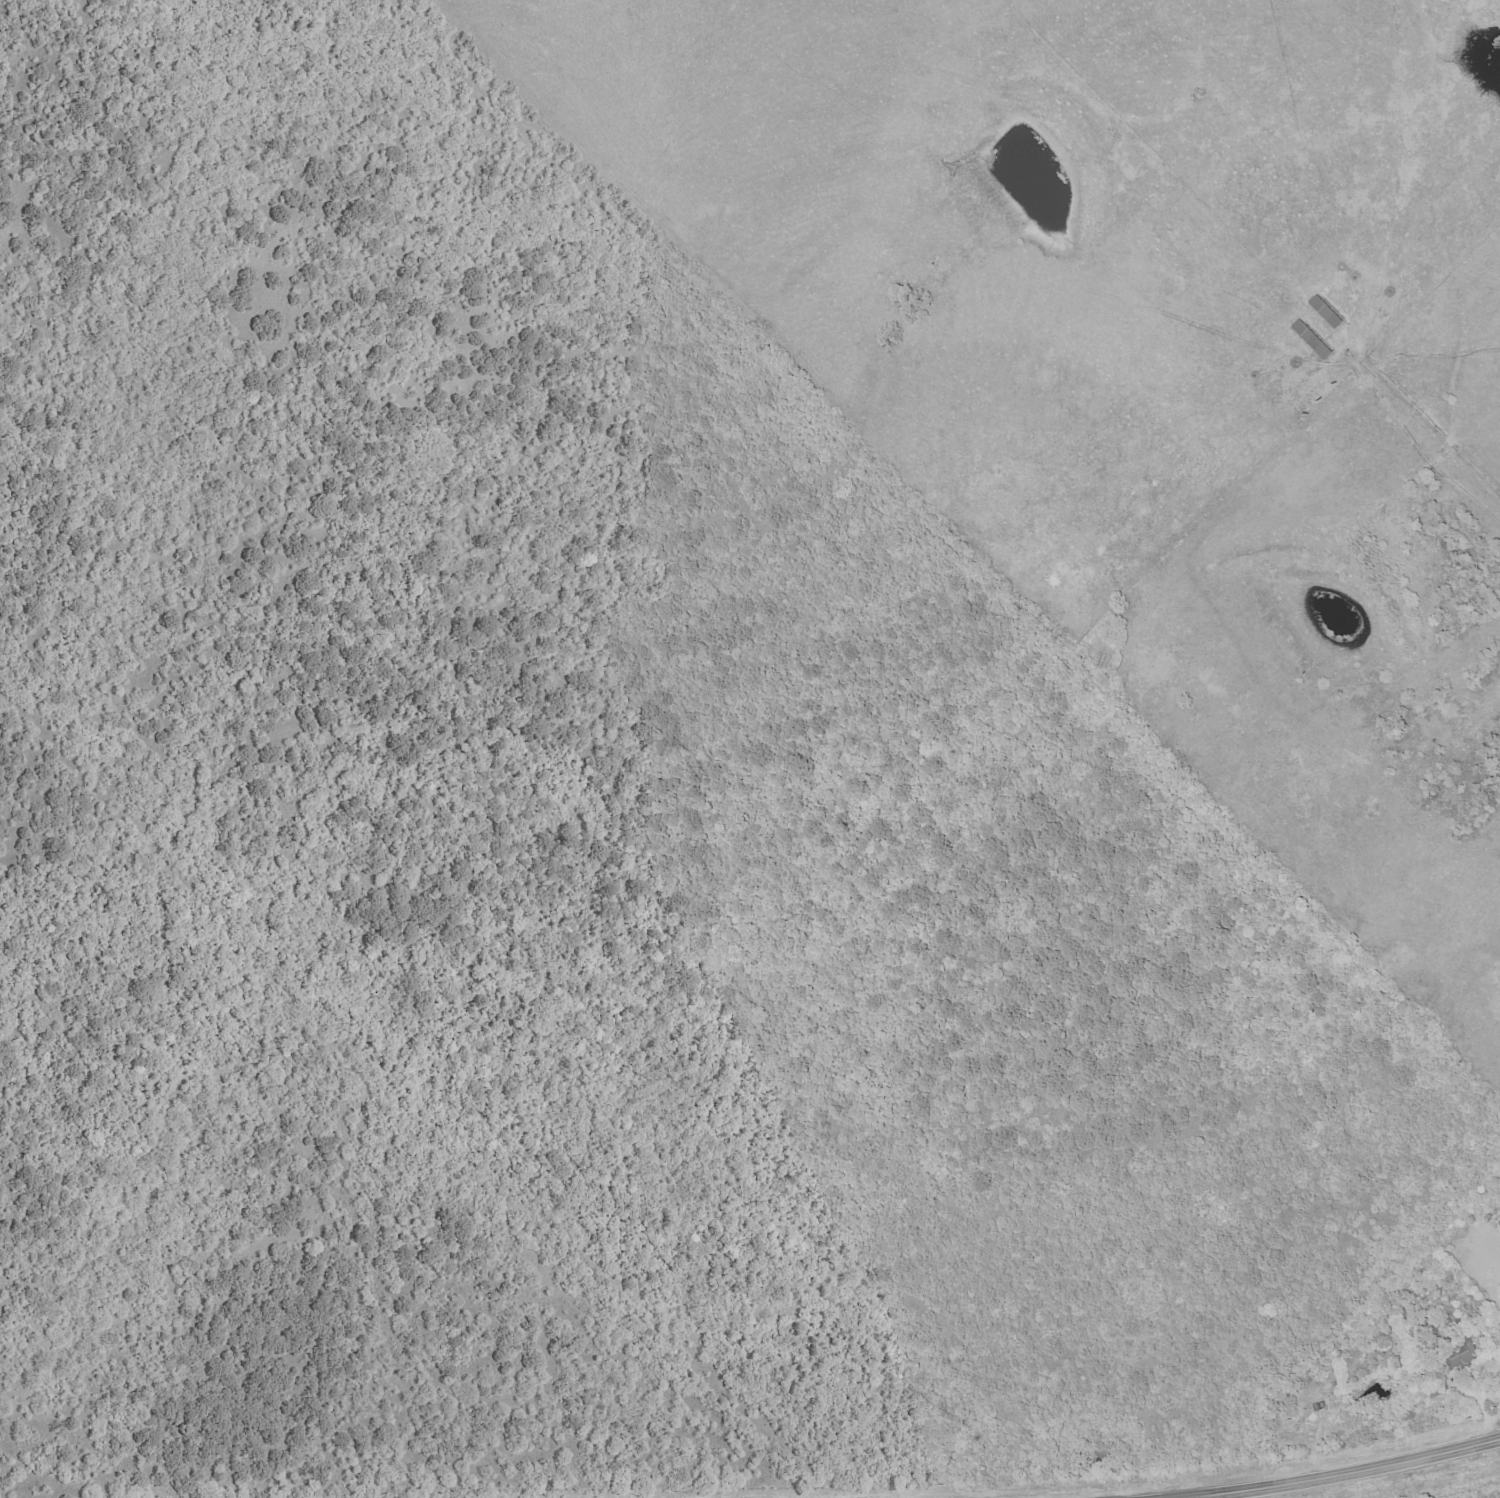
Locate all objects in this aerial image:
building: (1324, 312)
building: (1310, 339)
road: (1430, 432)
building: (1499, 1224)
building: (1462, 1355)
road: (1359, 1473)

